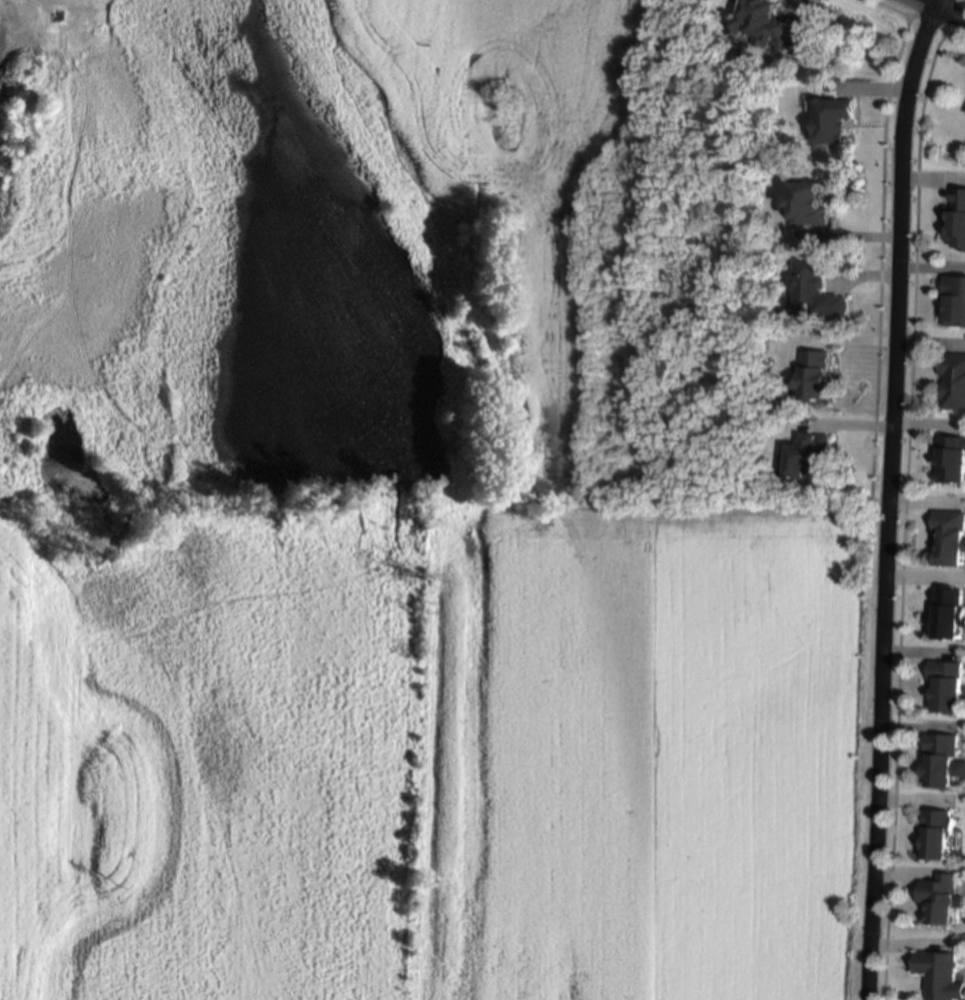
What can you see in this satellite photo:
road: (938, 10)
road: (5, 18)
building: (765, 25)
building: (832, 113)
building: (806, 198)
building: (955, 217)
crop: (538, 230)
building: (817, 284)
building: (953, 299)
building: (817, 373)
building: (952, 379)
building: (810, 454)
building: (950, 456)
road: (886, 497)
building: (948, 534)
crop: (160, 596)
building: (948, 609)
building: (945, 683)
building: (942, 760)
building: (935, 833)
building: (941, 897)
building: (941, 975)

